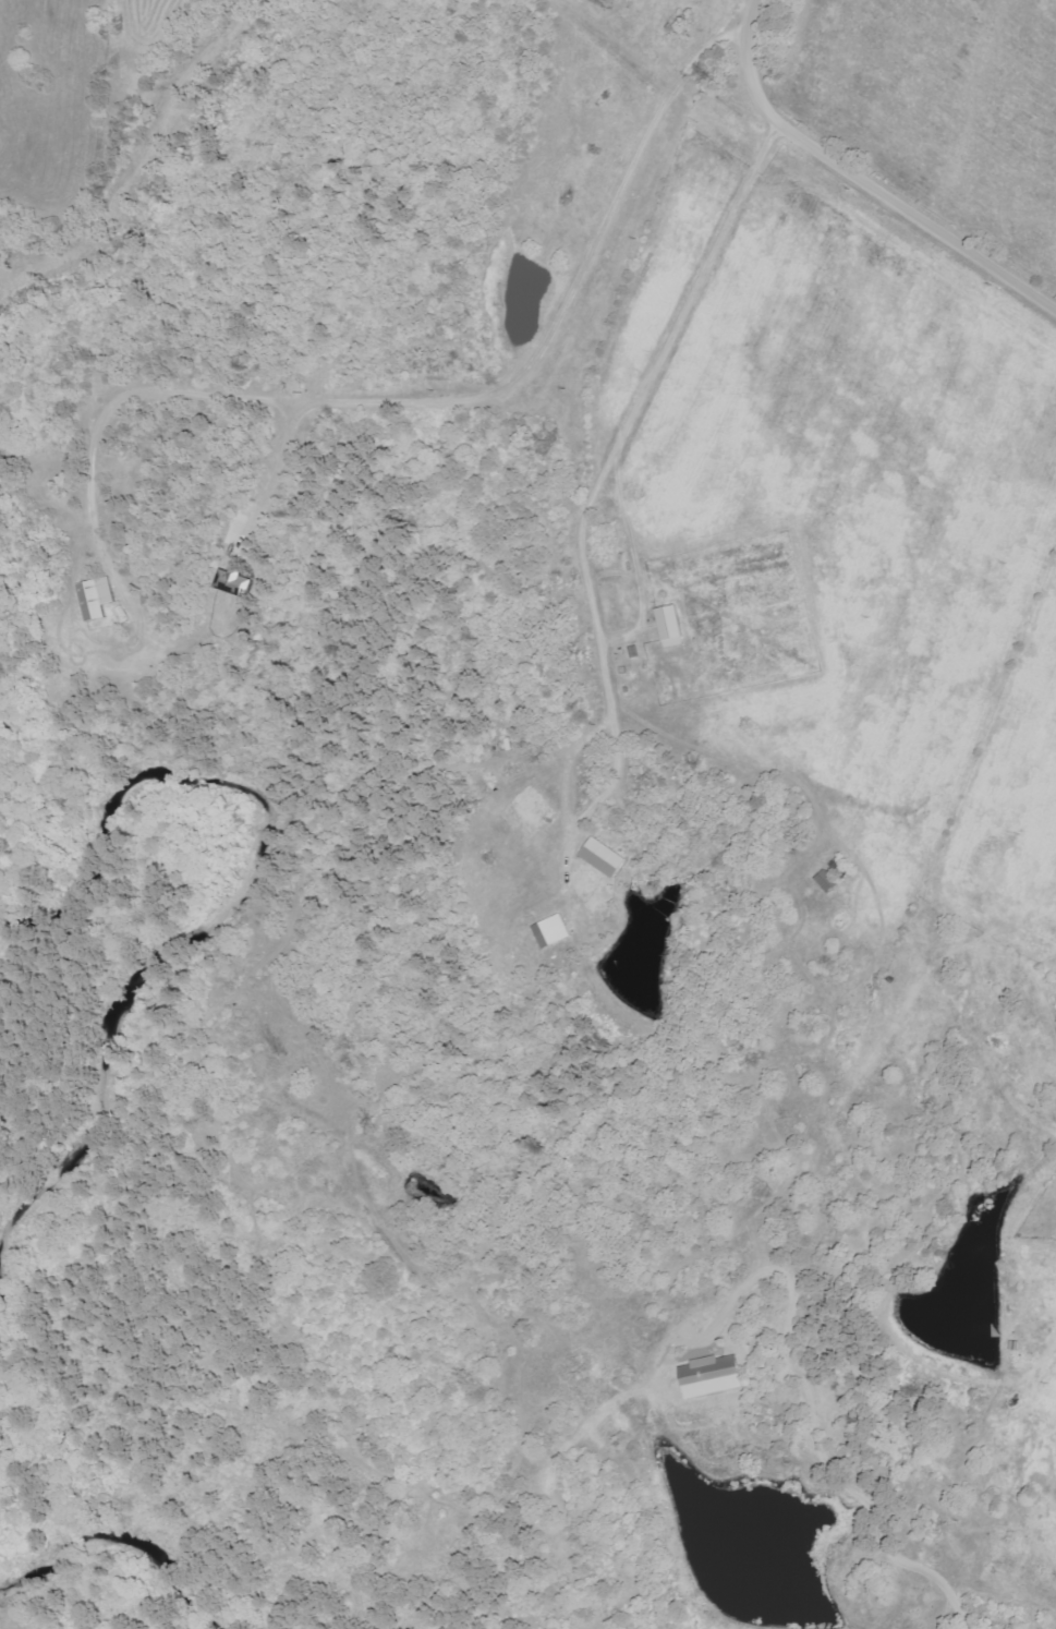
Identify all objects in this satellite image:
road: (864, 173)
building: (242, 582)
building: (99, 599)
building: (675, 627)
building: (607, 858)
building: (556, 932)
building: (716, 1377)

